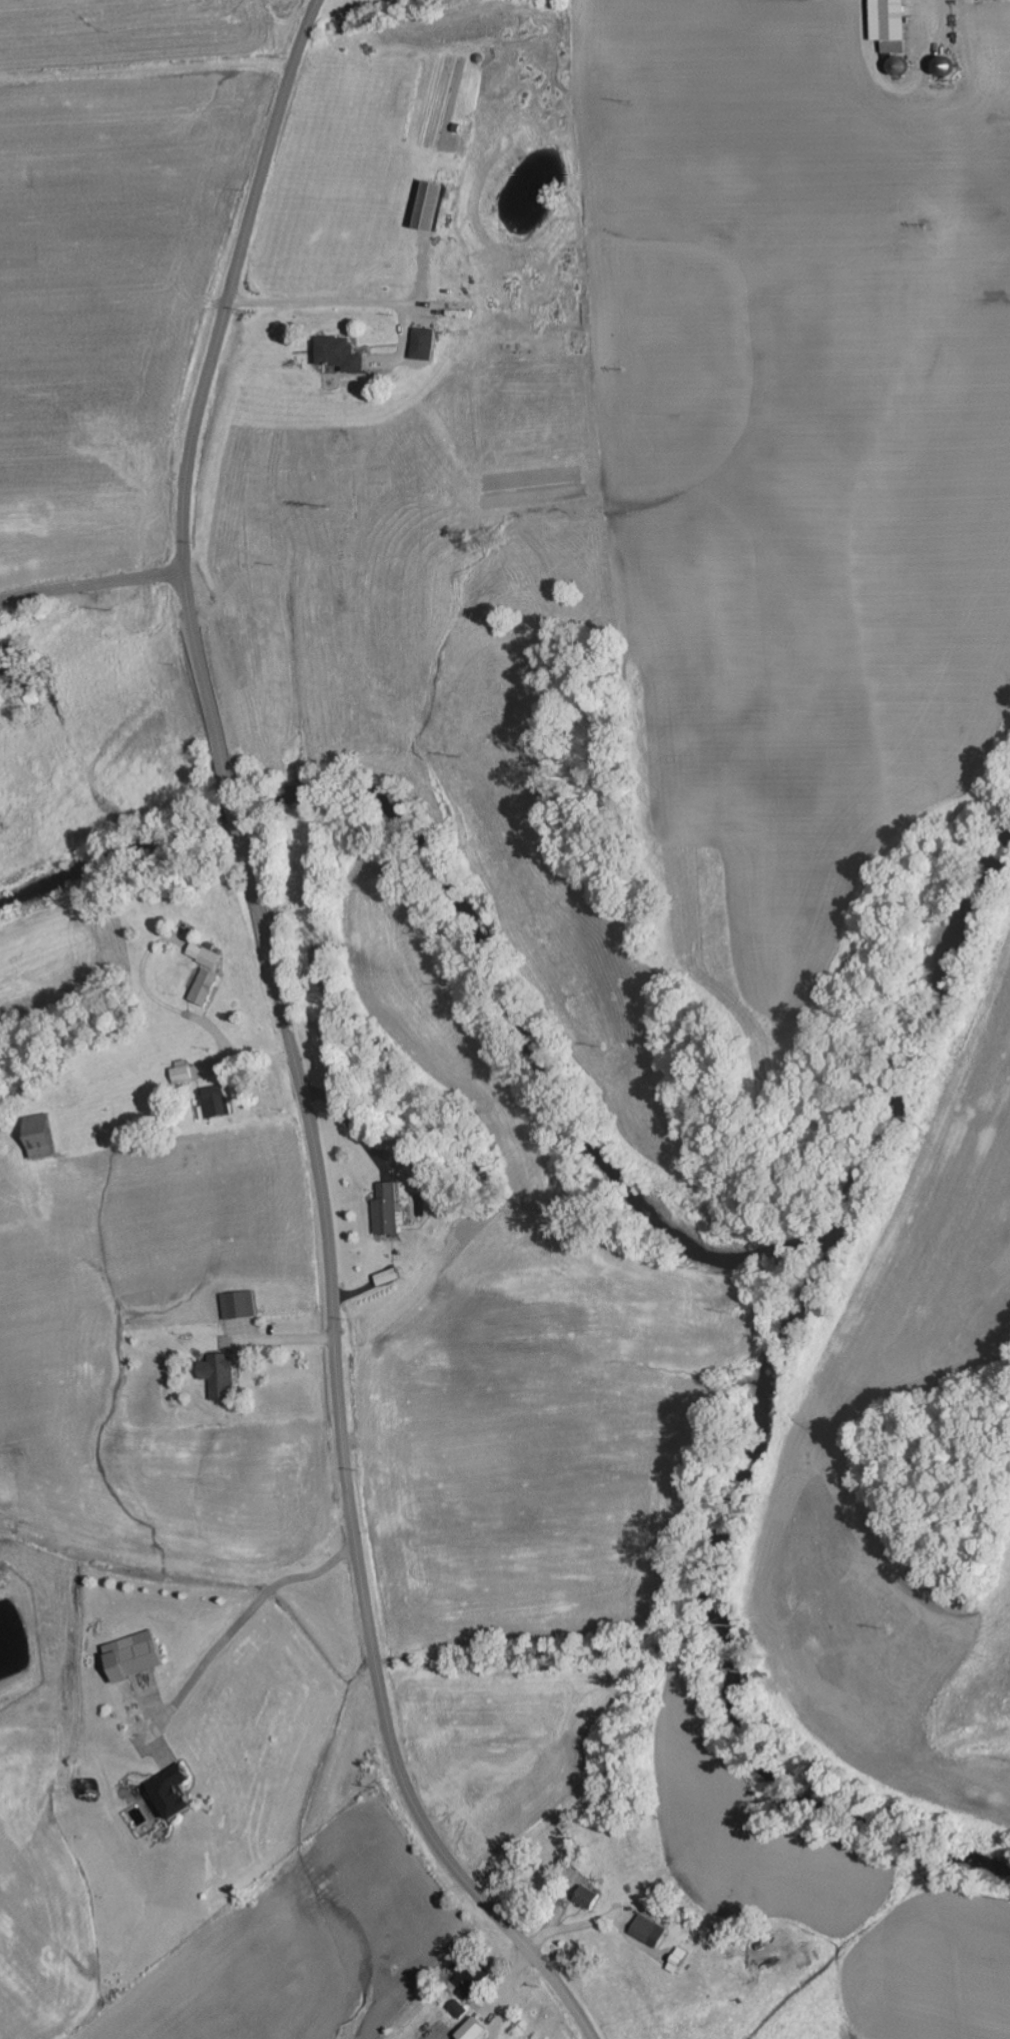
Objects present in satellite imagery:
building: (993, 0)
building: (891, 25)
building: (431, 206)
road: (232, 283)
building: (425, 344)
building: (340, 354)
road: (93, 586)
road: (205, 678)
road: (240, 825)
building: (206, 956)
building: (206, 988)
building: (182, 1073)
building: (217, 1103)
building: (39, 1138)
building: (413, 1175)
building: (390, 1212)
building: (389, 1278)
building: (221, 1377)
road: (349, 1484)
building: (135, 1658)
building: (173, 1792)
building: (588, 1897)
building: (651, 1931)
building: (469, 1985)
building: (460, 2009)
building: (473, 2030)

